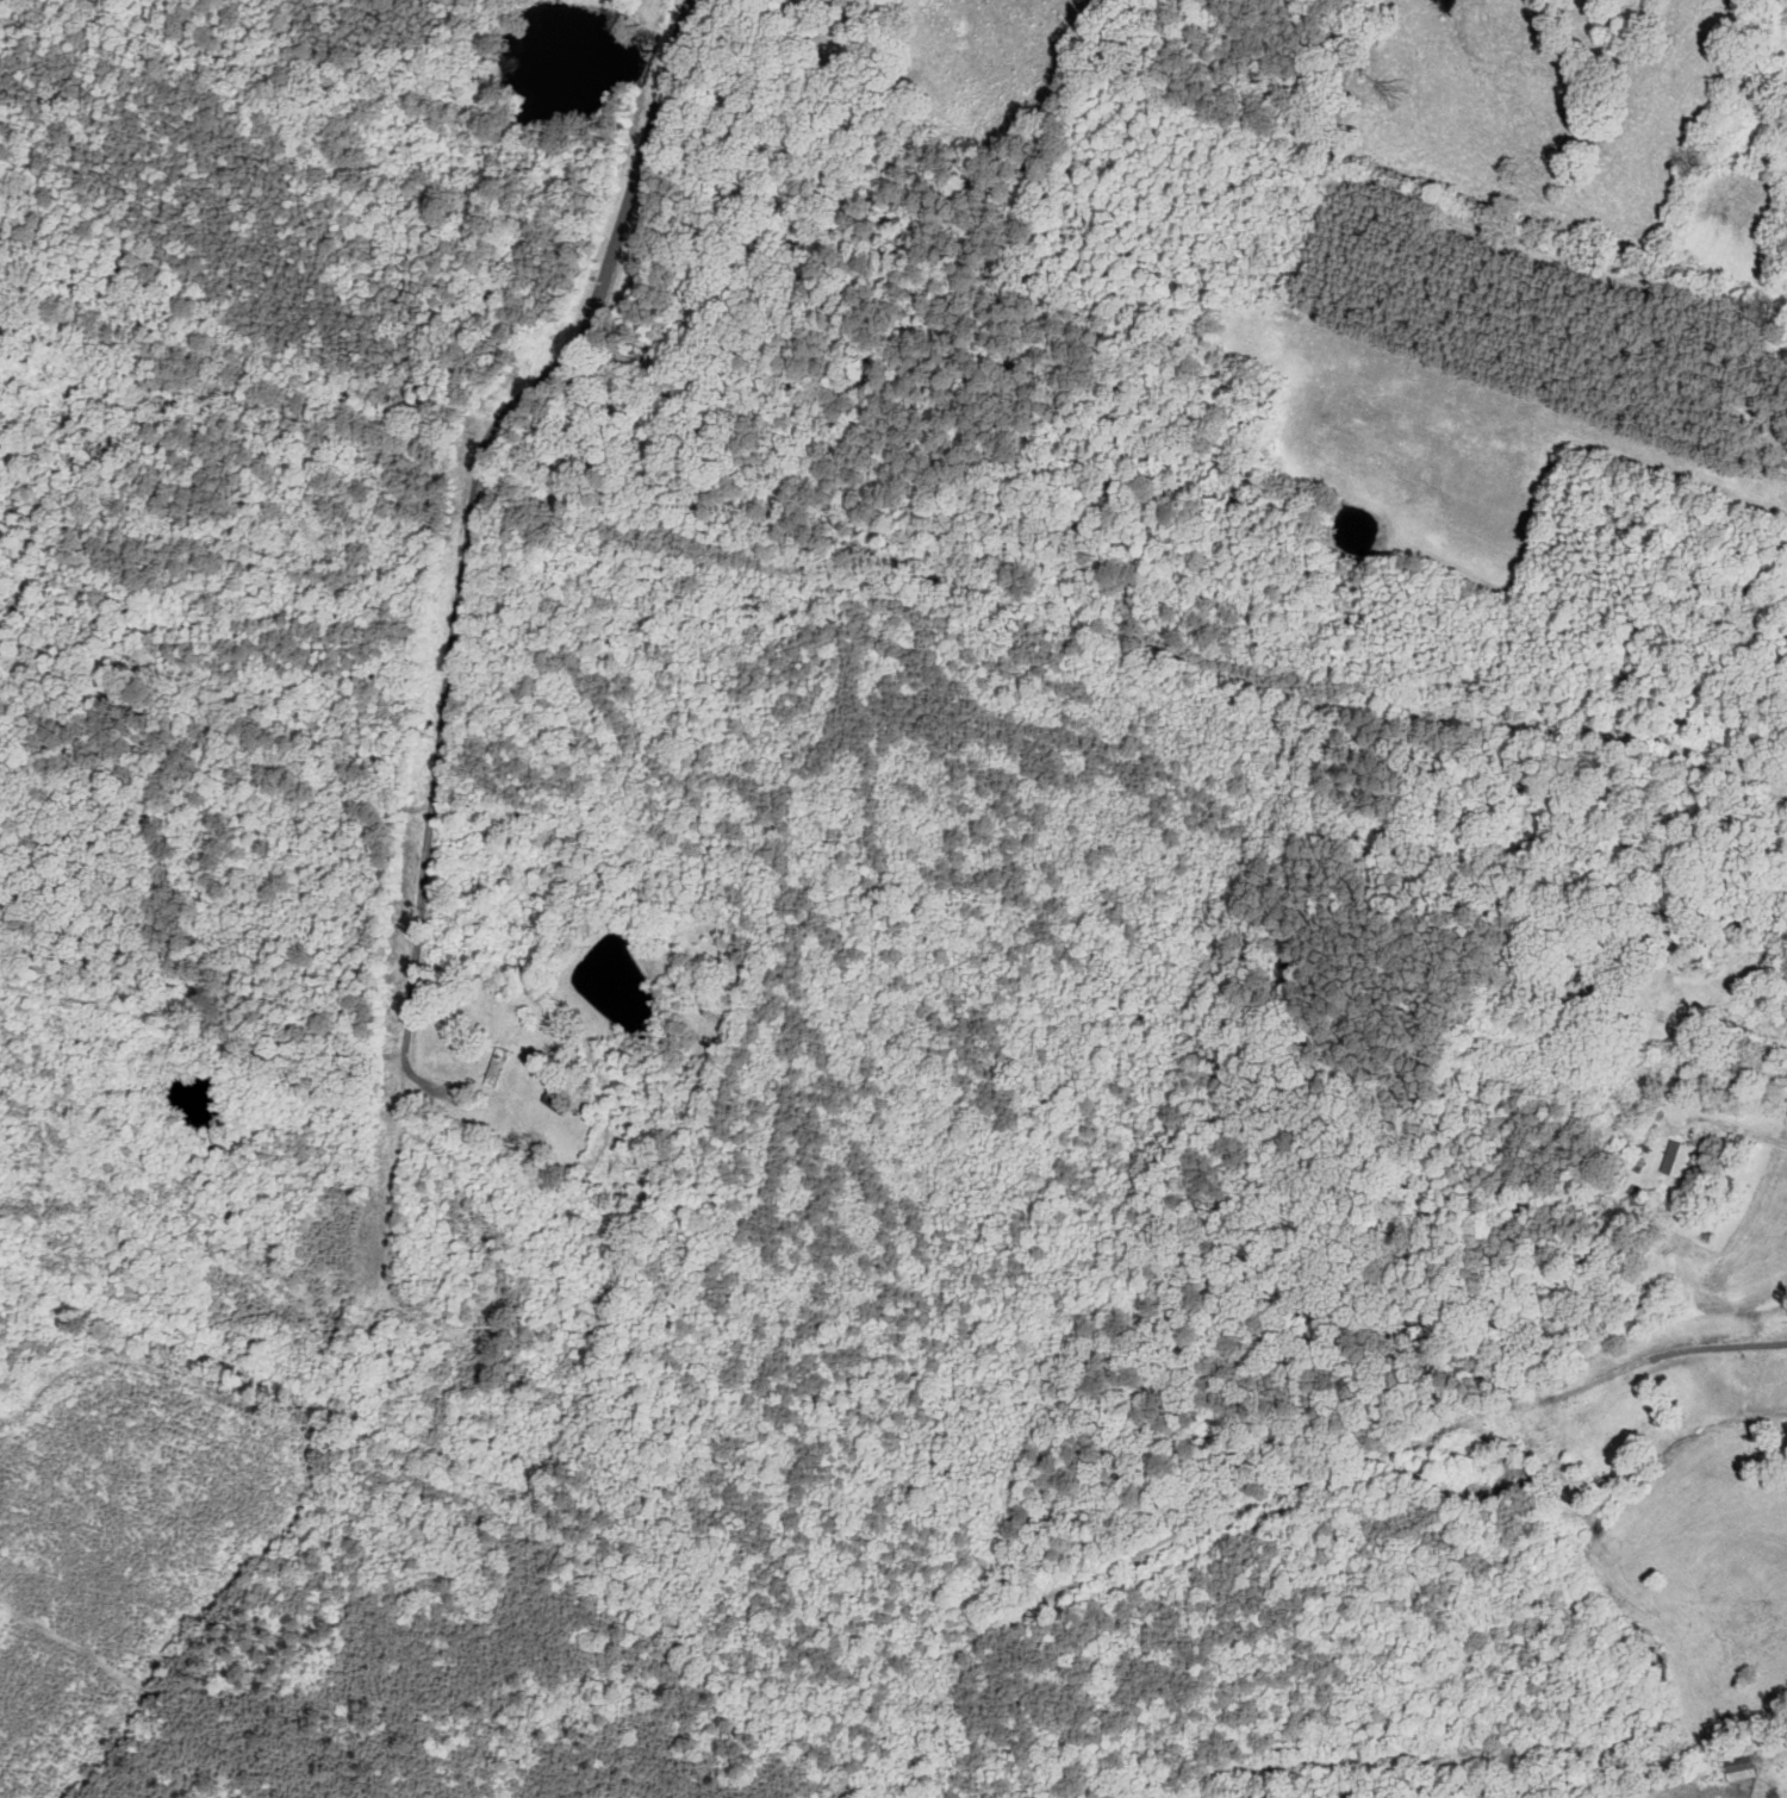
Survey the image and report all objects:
road: (646, 152)
building: (1674, 1159)
building: (1735, 1767)

